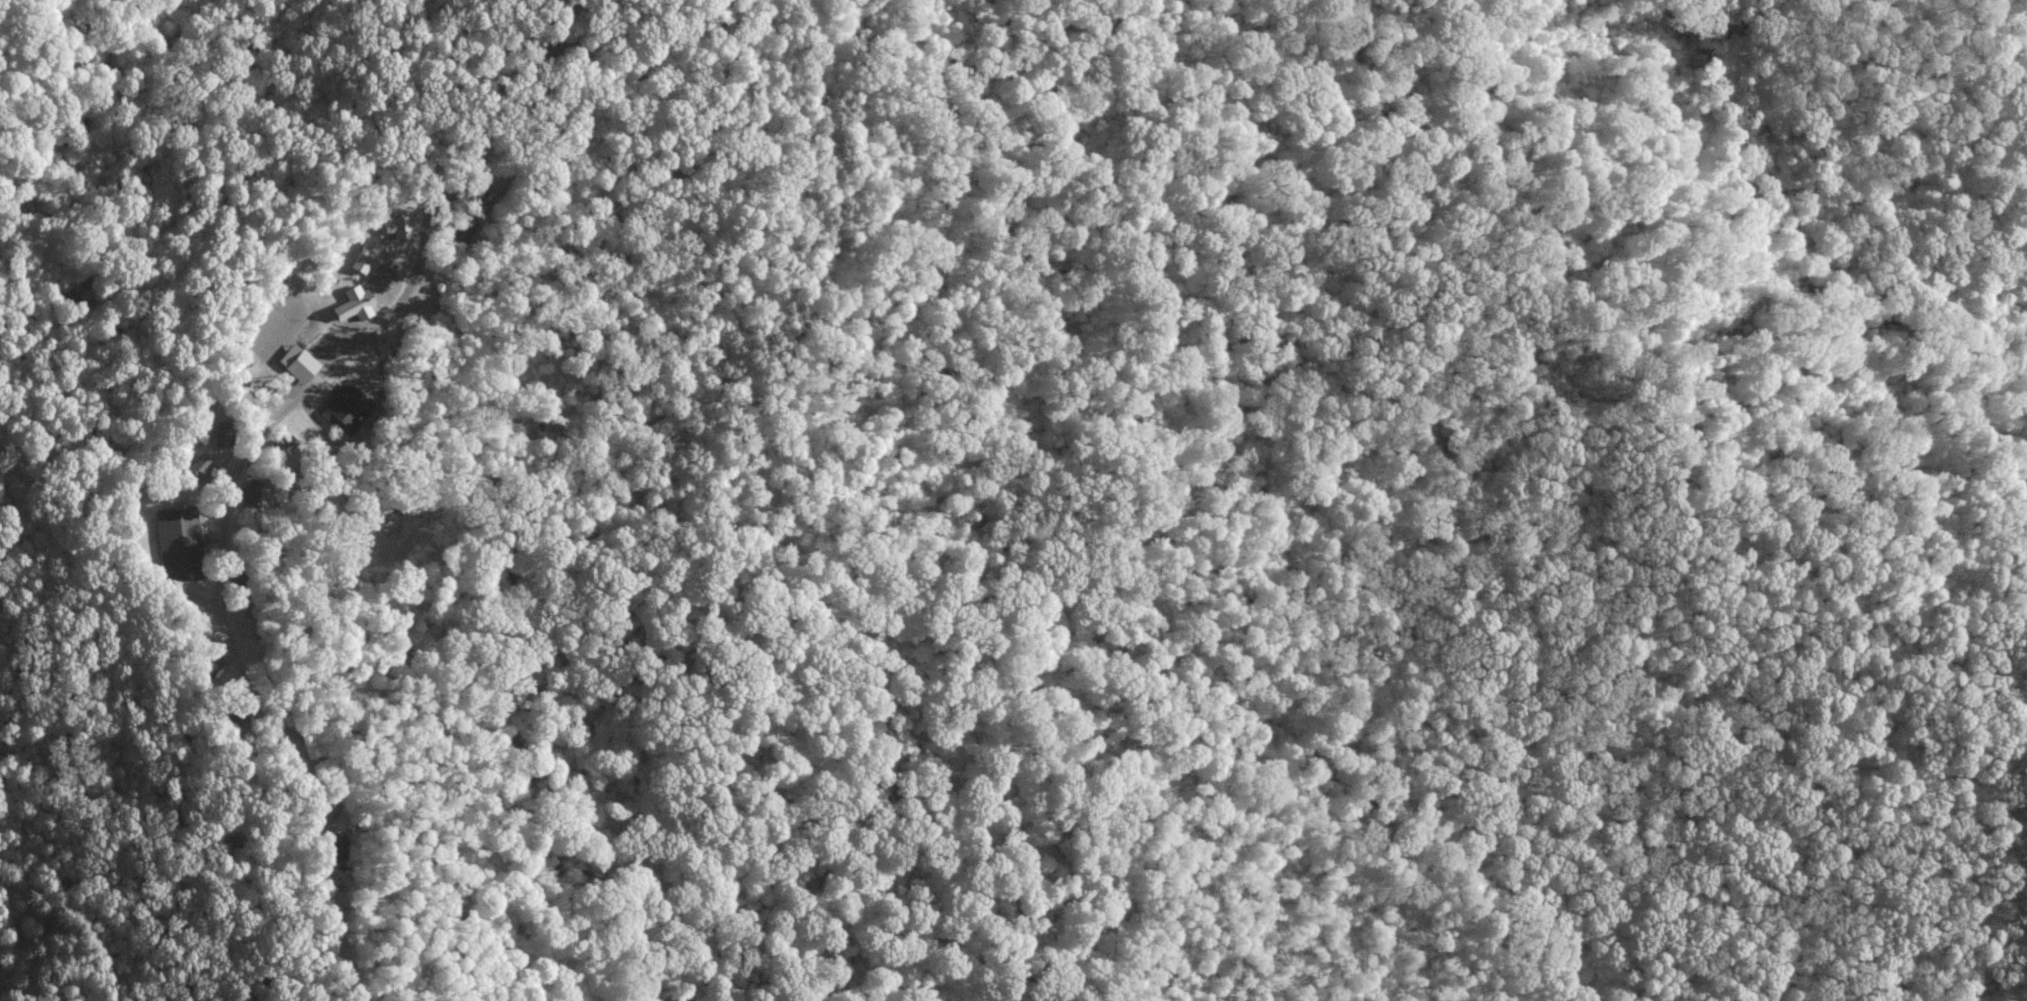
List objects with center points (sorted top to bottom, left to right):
building: (367, 255)
building: (356, 304)
building: (299, 362)
building: (223, 434)
road: (265, 437)
building: (181, 544)

